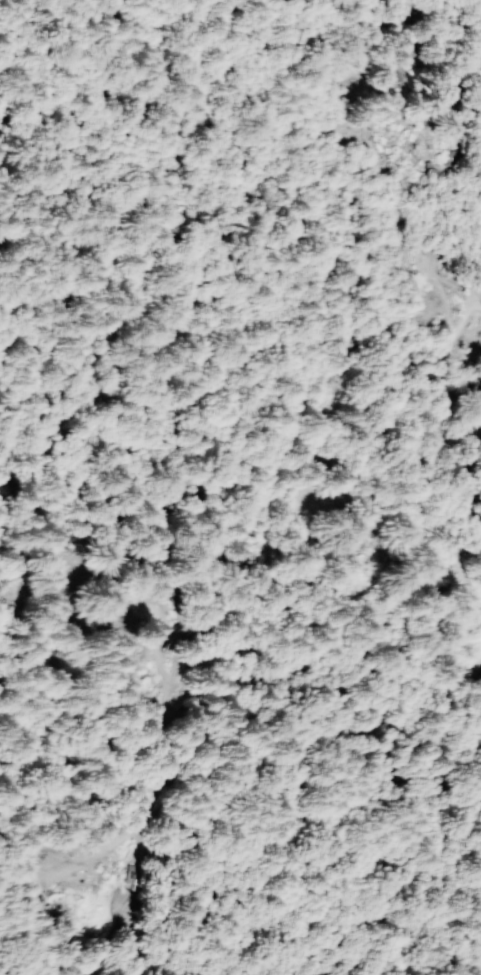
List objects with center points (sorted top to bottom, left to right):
road: (462, 12)
building: (378, 36)
building: (402, 75)
road: (112, 88)
road: (196, 147)
road: (477, 251)
building: (426, 256)
road: (452, 369)
road: (469, 494)
building: (374, 542)
road: (468, 558)
road: (472, 589)
road: (454, 652)
road: (263, 676)
road: (91, 917)

